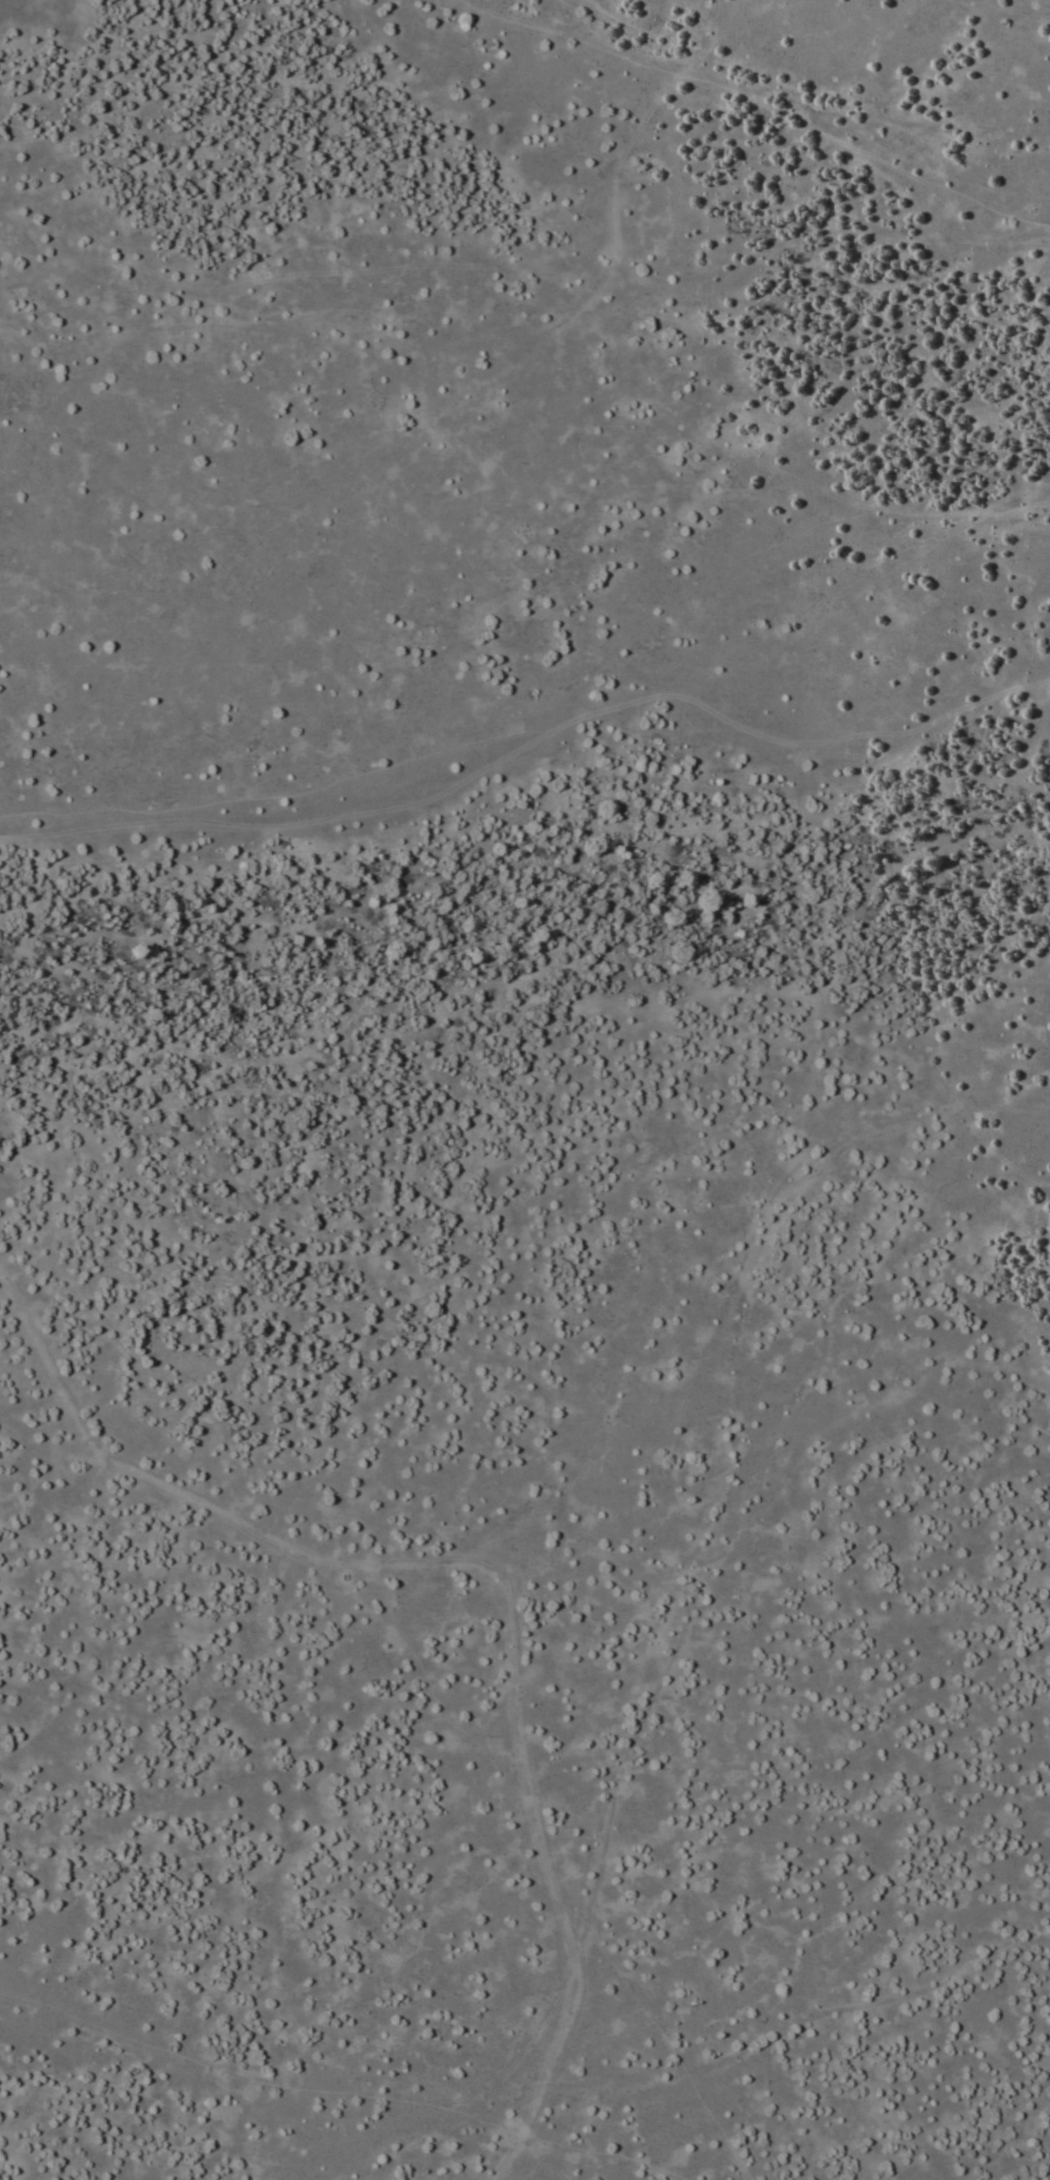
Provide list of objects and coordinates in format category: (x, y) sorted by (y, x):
road: (835, 85)
road: (527, 293)

